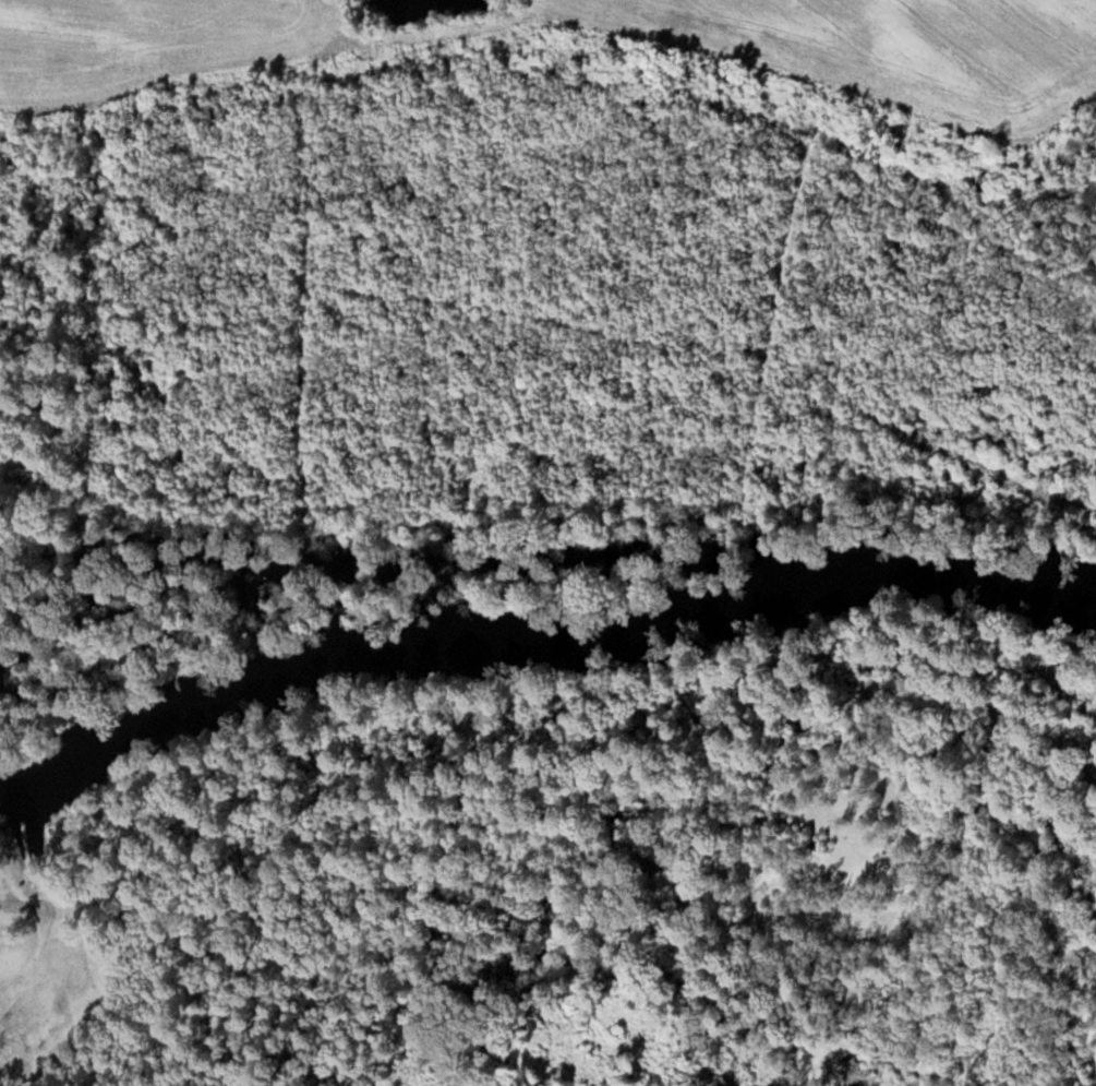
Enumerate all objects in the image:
road: (34, 959)
wastewater plant: (461, 1077)

